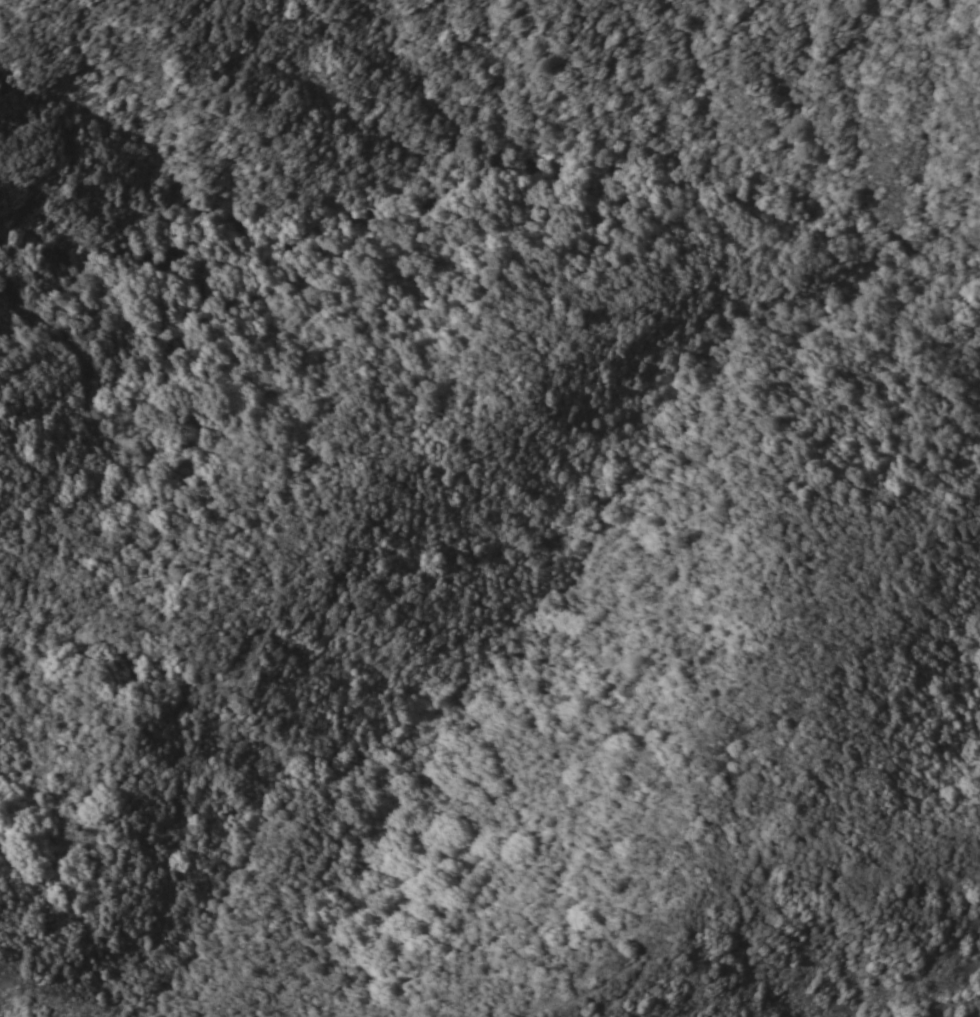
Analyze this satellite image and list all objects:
road: (235, 365)
road: (80, 909)
road: (633, 928)

